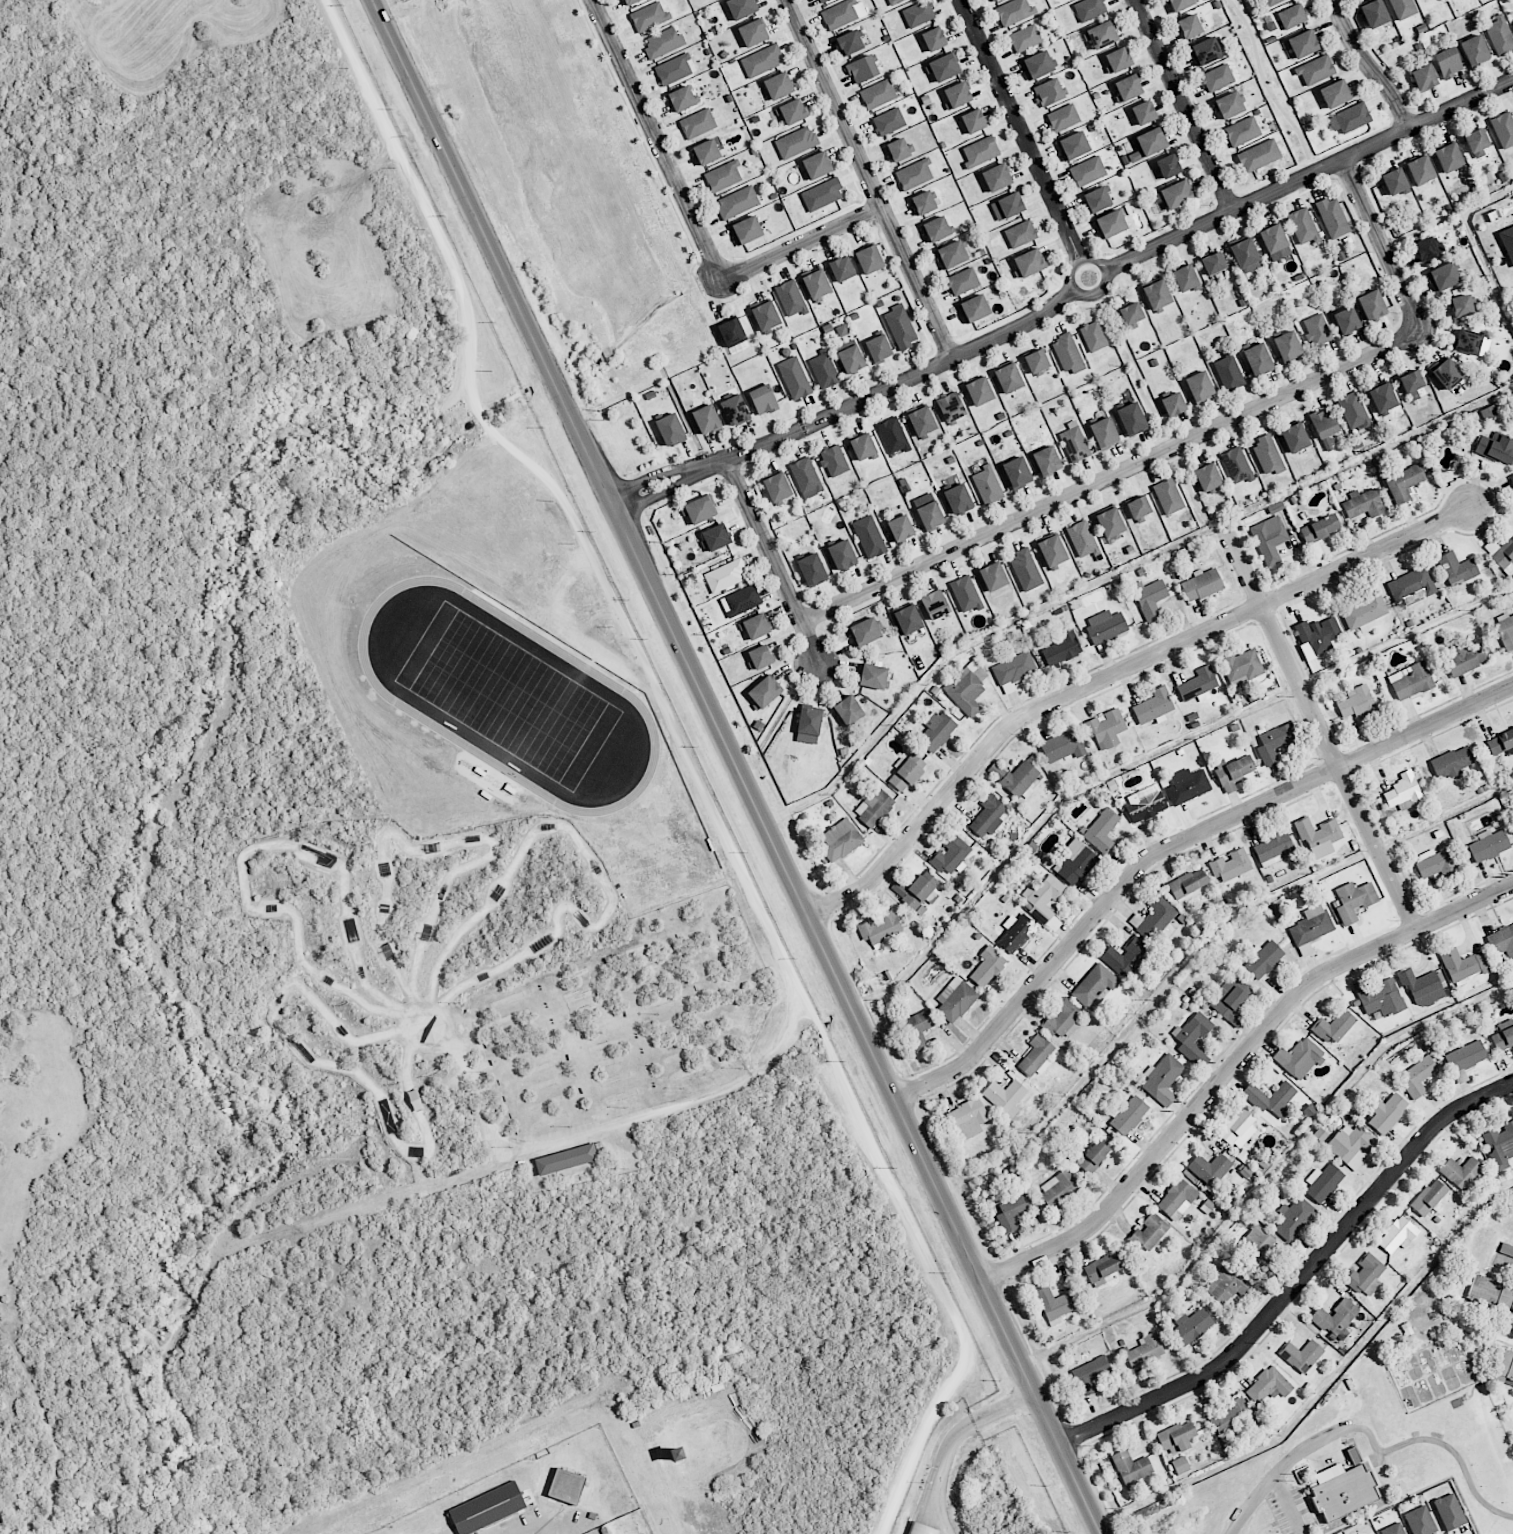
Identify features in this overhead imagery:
building: (992, 0)
building: (820, 1)
building: (895, 1)
building: (1271, 1)
building: (629, 2)
building: (1180, 4)
road: (5, 8)
building: (741, 8)
building: (1403, 8)
building: (1089, 9)
building: (1013, 11)
building: (1374, 13)
building: (839, 14)
building: (918, 14)
building: (649, 16)
building: (1292, 16)
building: (1189, 26)
building: (753, 32)
building: (1103, 34)
building: (1499, 35)
building: (1025, 38)
building: (933, 39)
building: (663, 42)
building: (849, 42)
building: (1304, 43)
building: (1474, 49)
building: (1205, 51)
building: (1118, 59)
building: (761, 61)
building: (1447, 62)
building: (1037, 65)
road: (1367, 65)
building: (944, 67)
building: (673, 69)
building: (862, 69)
building: (1315, 69)
building: (1217, 77)
building: (1423, 78)
building: (778, 85)
road: (1271, 86)
building: (1128, 87)
building: (1048, 92)
building: (1335, 93)
building: (878, 94)
building: (957, 94)
building: (681, 99)
road: (1185, 105)
building: (1229, 105)
building: (792, 111)
building: (1143, 112)
building: (1063, 117)
building: (1350, 118)
building: (889, 121)
building: (973, 121)
building: (697, 124)
building: (1503, 129)
road: (1021, 130)
building: (1242, 131)
road: (658, 142)
building: (796, 142)
building: (1149, 143)
building: (1476, 143)
building: (1073, 145)
building: (897, 150)
building: (980, 151)
building: (706, 152)
building: (1258, 155)
building: (1448, 157)
building: (816, 165)
building: (1168, 165)
building: (1420, 170)
building: (1087, 171)
building: (914, 174)
road: (1309, 174)
building: (723, 176)
building: (996, 177)
road: (871, 178)
building: (1394, 181)
building: (1176, 194)
building: (822, 195)
building: (1097, 199)
building: (737, 202)
building: (923, 202)
building: (1007, 206)
building: (1332, 217)
road: (1448, 218)
building: (1110, 224)
building: (1302, 226)
building: (936, 229)
building: (745, 230)
building: (1020, 233)
building: (1507, 241)
building: (1275, 242)
road: (1381, 245)
road: (804, 246)
building: (1427, 248)
building: (950, 254)
building: (1245, 255)
building: (869, 259)
building: (1029, 262)
road: (1101, 263)
building: (1213, 263)
building: (841, 269)
building: (1443, 276)
building: (1184, 278)
building: (962, 281)
building: (816, 284)
building: (1157, 294)
building: (790, 298)
building: (1371, 305)
building: (1461, 305)
building: (974, 308)
building: (1131, 313)
building: (765, 316)
building: (1346, 320)
building: (900, 327)
building: (1317, 329)
building: (733, 336)
building: (1093, 336)
building: (1468, 341)
building: (1287, 345)
building: (878, 348)
building: (1067, 354)
building: (850, 358)
building: (1257, 359)
building: (1036, 361)
building: (824, 369)
building: (1228, 373)
building: (1447, 374)
building: (794, 378)
building: (1008, 378)
building: (1411, 384)
building: (1199, 387)
building: (979, 391)
building: (1382, 397)
building: (763, 399)
building: (1173, 404)
building: (950, 407)
road: (850, 409)
building: (734, 410)
building: (1353, 410)
building: (1489, 412)
road: (1157, 414)
building: (706, 419)
building: (1131, 419)
building: (922, 421)
building: (1324, 427)
building: (670, 429)
building: (1104, 433)
building: (893, 435)
building: (1294, 437)
building: (1074, 442)
building: (862, 447)
building: (1496, 449)
building: (1268, 455)
building: (833, 460)
building: (1046, 460)
building: (1237, 466)
building: (1017, 472)
building: (806, 477)
road: (1111, 477)
building: (1207, 477)
building: (1511, 479)
building: (1404, 483)
building: (987, 485)
building: (777, 487)
building: (1168, 496)
building: (958, 499)
building: (1363, 504)
building: (1138, 508)
building: (700, 509)
building: (930, 515)
building: (1110, 522)
building: (900, 528)
building: (1320, 528)
building: (716, 537)
building: (869, 537)
building: (1082, 539)
building: (1269, 539)
building: (1052, 550)
building: (1501, 554)
building: (842, 555)
road: (773, 561)
building: (1456, 568)
building: (812, 570)
building: (1025, 570)
building: (725, 576)
building: (993, 576)
building: (1201, 585)
building: (965, 594)
building: (1150, 598)
building: (740, 601)
building: (935, 604)
building: (1364, 612)
building: (907, 619)
building: (756, 626)
building: (1105, 626)
building: (1505, 630)
building: (864, 632)
building: (1318, 632)
building: (1062, 648)
building: (760, 656)
building: (1465, 658)
building: (1014, 667)
building: (1241, 667)
road: (1113, 673)
building: (873, 676)
building: (1411, 680)
building: (1198, 685)
building: (967, 688)
building: (764, 691)
building: (1357, 702)
building: (1154, 706)
building: (848, 710)
building: (808, 725)
building: (1106, 728)
road: (1319, 729)
building: (936, 731)
building: (1500, 741)
building: (1274, 743)
building: (1062, 746)
road: (691, 761)
building: (1452, 762)
road: (737, 765)
building: (1235, 768)
building: (907, 772)
building: (1016, 778)
building: (1187, 786)
building: (1404, 791)
building: (1145, 805)
building: (874, 807)
building: (988, 816)
building: (1101, 830)
building: (1318, 836)
building: (840, 839)
road: (1170, 845)
building: (1488, 845)
building: (1274, 849)
building: (951, 854)
building: (1074, 862)
building: (1434, 864)
building: (1231, 865)
building: (1188, 885)
building: (1042, 897)
building: (1353, 900)
building: (1156, 919)
building: (1311, 925)
building: (880, 928)
building: (1017, 933)
building: (1502, 941)
building: (1126, 957)
building: (1263, 959)
building: (1463, 964)
building: (987, 966)
building: (1094, 985)
building: (1422, 988)
building: (1379, 997)
building: (955, 999)
building: (1230, 999)
building: (1062, 1018)
building: (1334, 1026)
building: (917, 1029)
building: (1193, 1038)
building: (1502, 1038)
building: (1037, 1055)
building: (1465, 1056)
building: (1299, 1057)
road: (1232, 1064)
building: (1417, 1076)
building: (1163, 1079)
building: (1005, 1096)
building: (1271, 1098)
building: (1387, 1112)
building: (1129, 1115)
building: (967, 1118)
road: (631, 1122)
building: (1235, 1128)
building: (1351, 1145)
building: (1500, 1145)
building: (1095, 1154)
building: (565, 1159)
building: (1211, 1168)
building: (1462, 1172)
building: (1323, 1182)
building: (1059, 1188)
building: (1429, 1198)
building: (1177, 1199)
building: (1014, 1211)
building: (1294, 1217)
building: (1508, 1221)
building: (1149, 1232)
building: (1397, 1235)
building: (1255, 1240)
building: (1480, 1246)
building: (1501, 1257)
building: (1102, 1269)
building: (1366, 1275)
road: (1297, 1279)
building: (1227, 1284)
building: (1491, 1293)
building: (1054, 1305)
building: (1336, 1318)
building: (1191, 1325)
building: (1145, 1350)
building: (1303, 1356)
building: (1504, 1364)
building: (1089, 1374)
building: (1268, 1385)
building: (1230, 1417)
building: (1177, 1437)
road: (1371, 1440)
road: (958, 1447)
road: (1457, 1455)
building: (1180, 1465)
building: (1131, 1468)
road: (1281, 1468)
building: (566, 1486)
building: (1343, 1493)
road: (1286, 1505)
building: (487, 1508)
building: (1449, 1511)
road: (941, 1520)
building: (1420, 1520)
building: (921, 1529)
building: (1393, 1529)
building: (1375, 1533)

